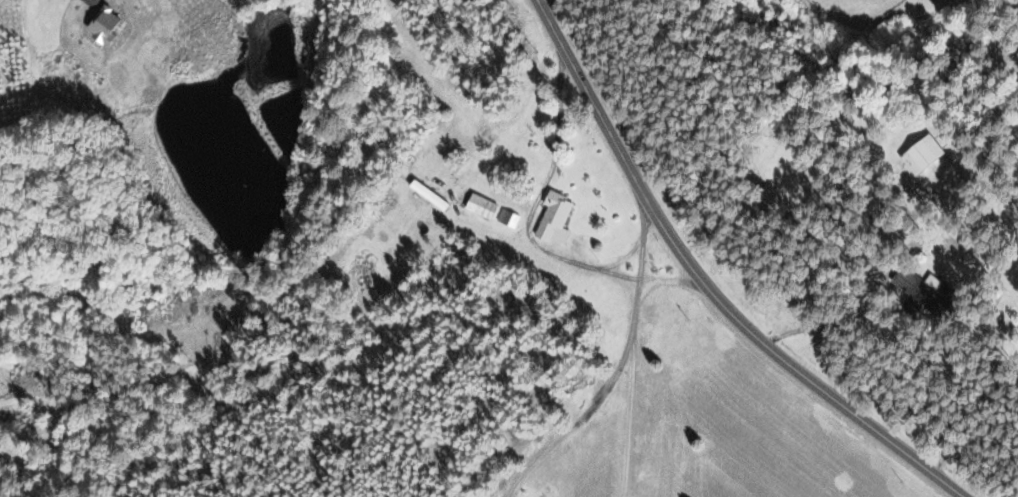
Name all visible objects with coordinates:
road: (549, 5)
building: (100, 25)
building: (919, 154)
building: (474, 204)
building: (507, 218)
building: (552, 218)
road: (636, 264)
road: (705, 287)
building: (910, 291)
road: (629, 418)
road: (577, 422)

